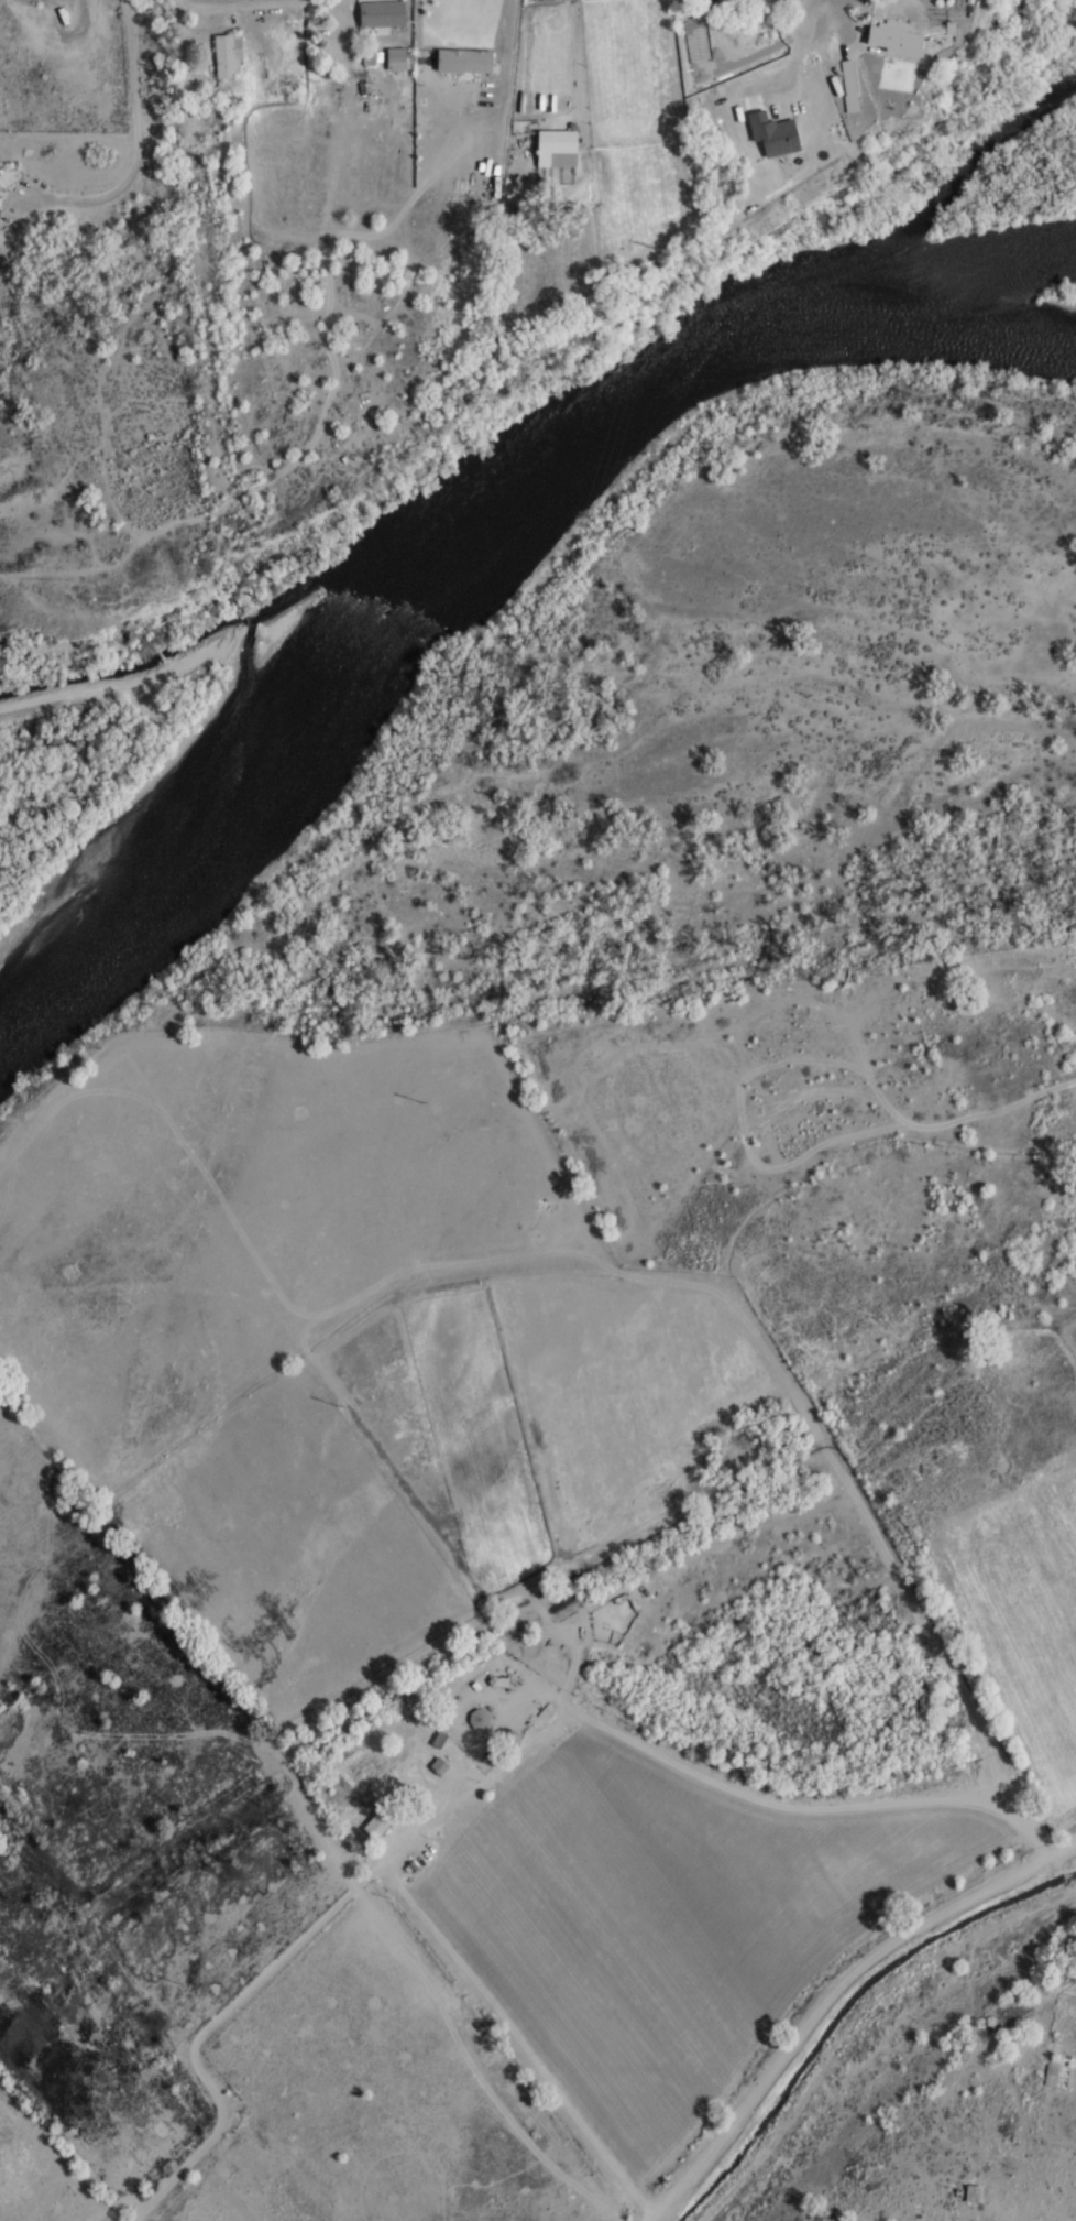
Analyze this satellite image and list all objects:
building: (382, 14)
building: (228, 56)
building: (396, 58)
building: (464, 59)
building: (558, 148)
building: (0, 210)
river: (469, 536)
building: (624, 1604)
building: (499, 1683)
building: (480, 1720)
building: (440, 1738)
road: (497, 1757)
building: (439, 1766)
building: (378, 1823)
road: (833, 1994)

